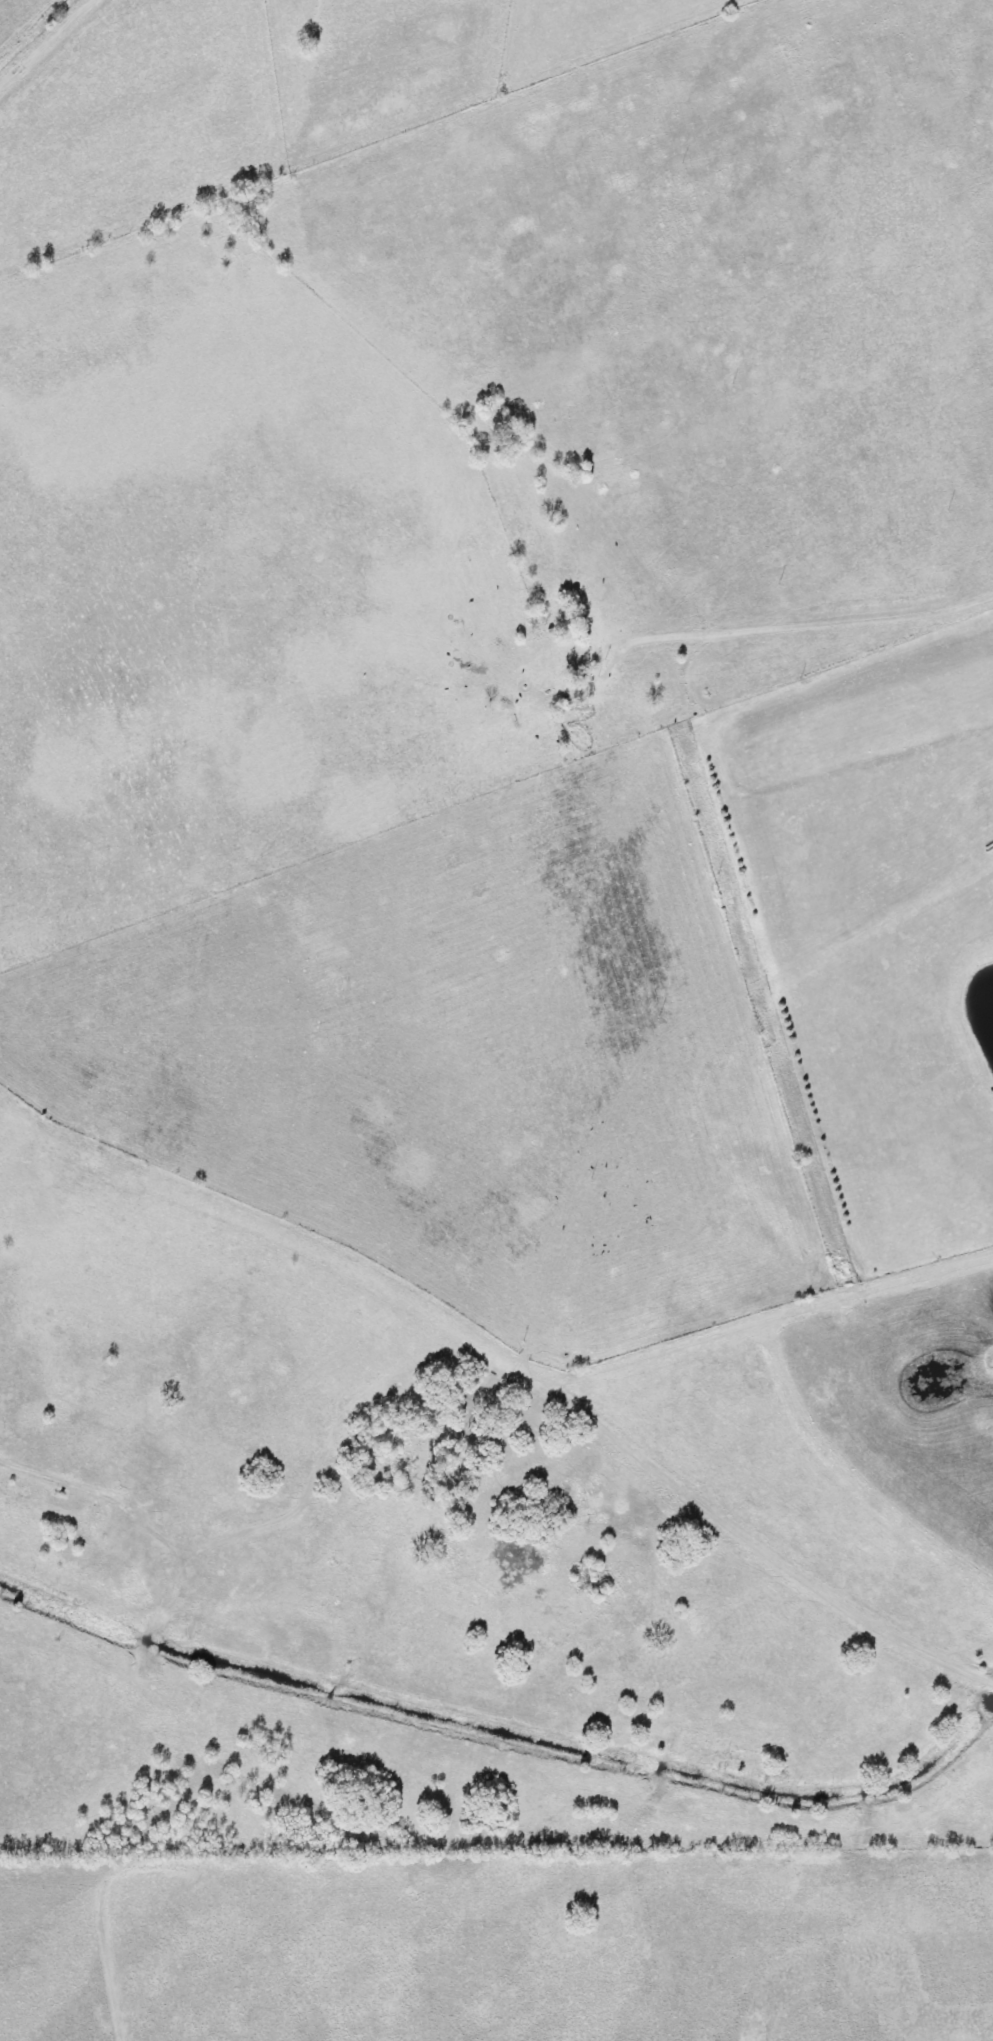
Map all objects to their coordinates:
road: (105, 1497)

